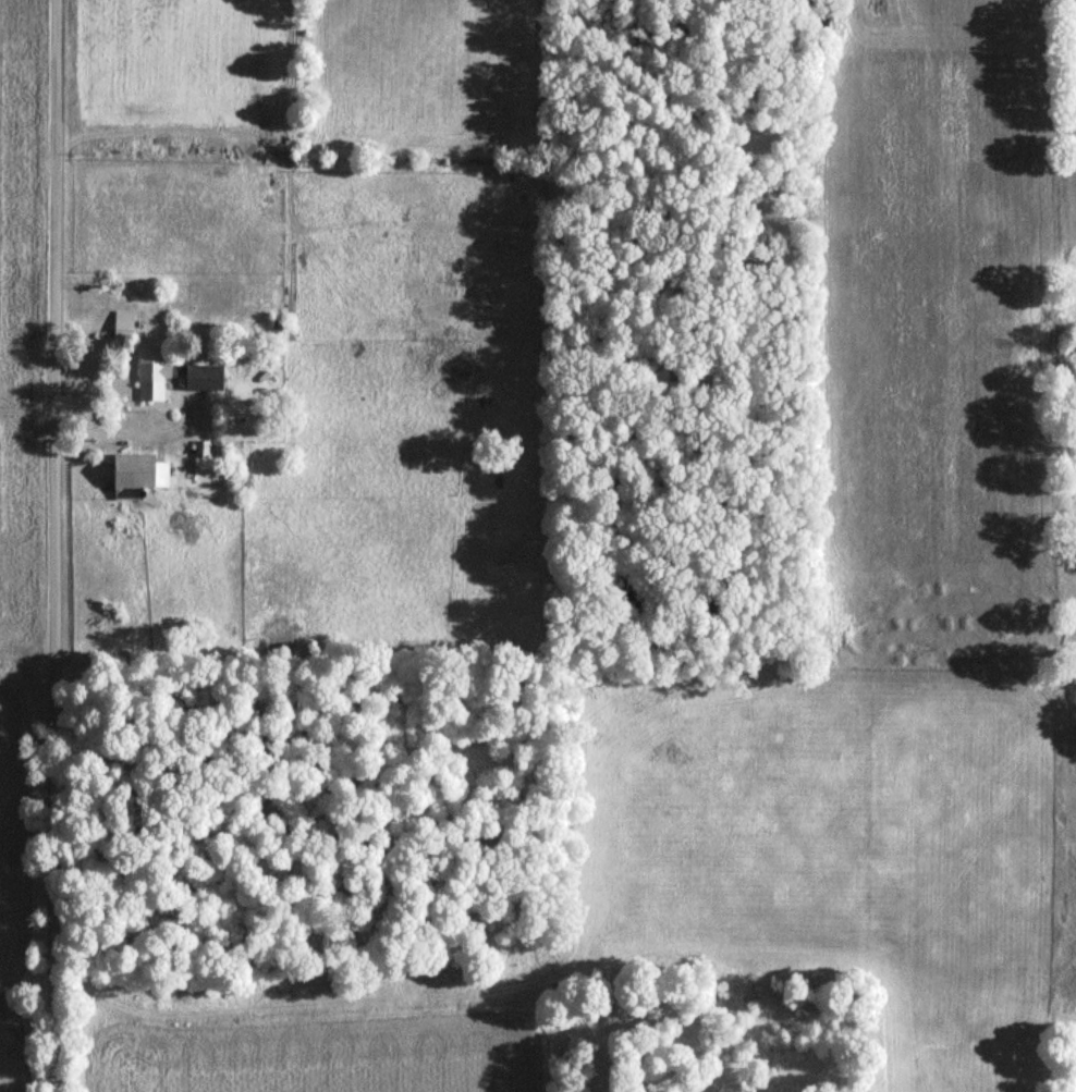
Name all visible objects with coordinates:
building: (124, 330)
building: (155, 375)
building: (209, 378)
road: (131, 432)
building: (137, 476)
road: (56, 545)

